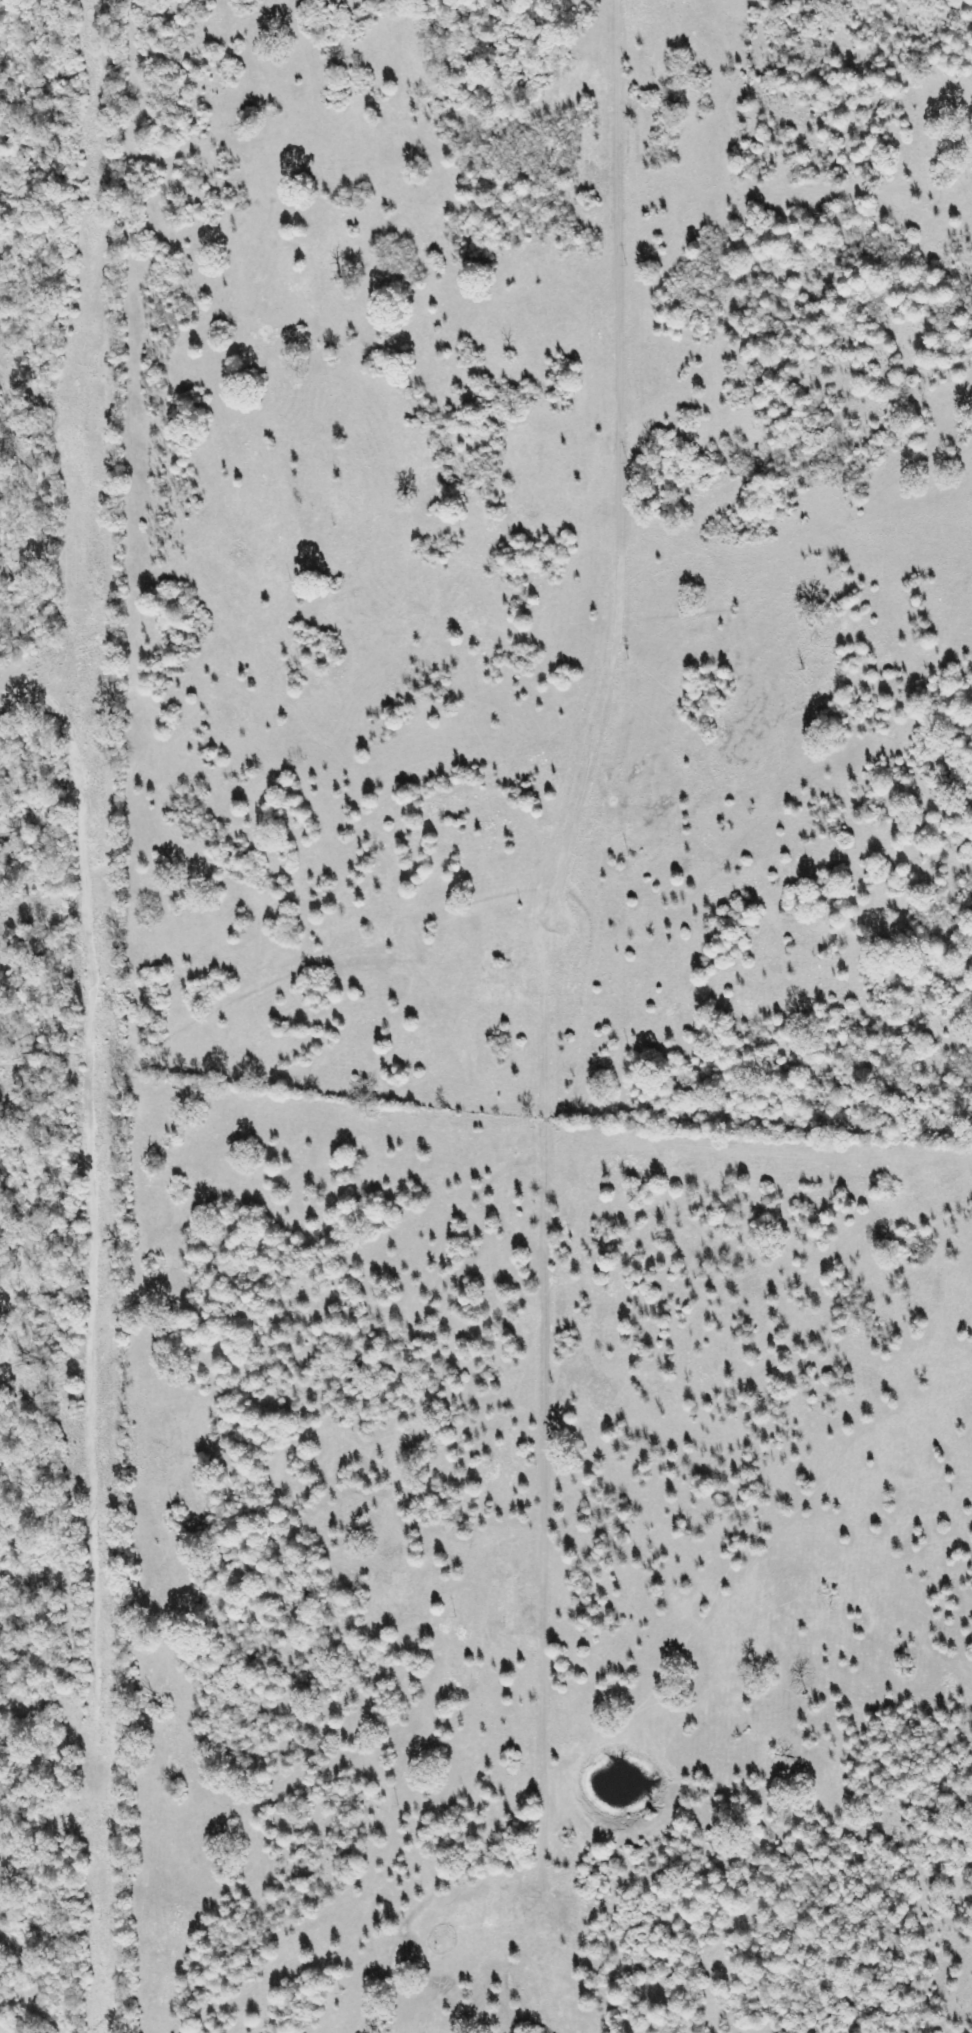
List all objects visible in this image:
road: (557, 932)

